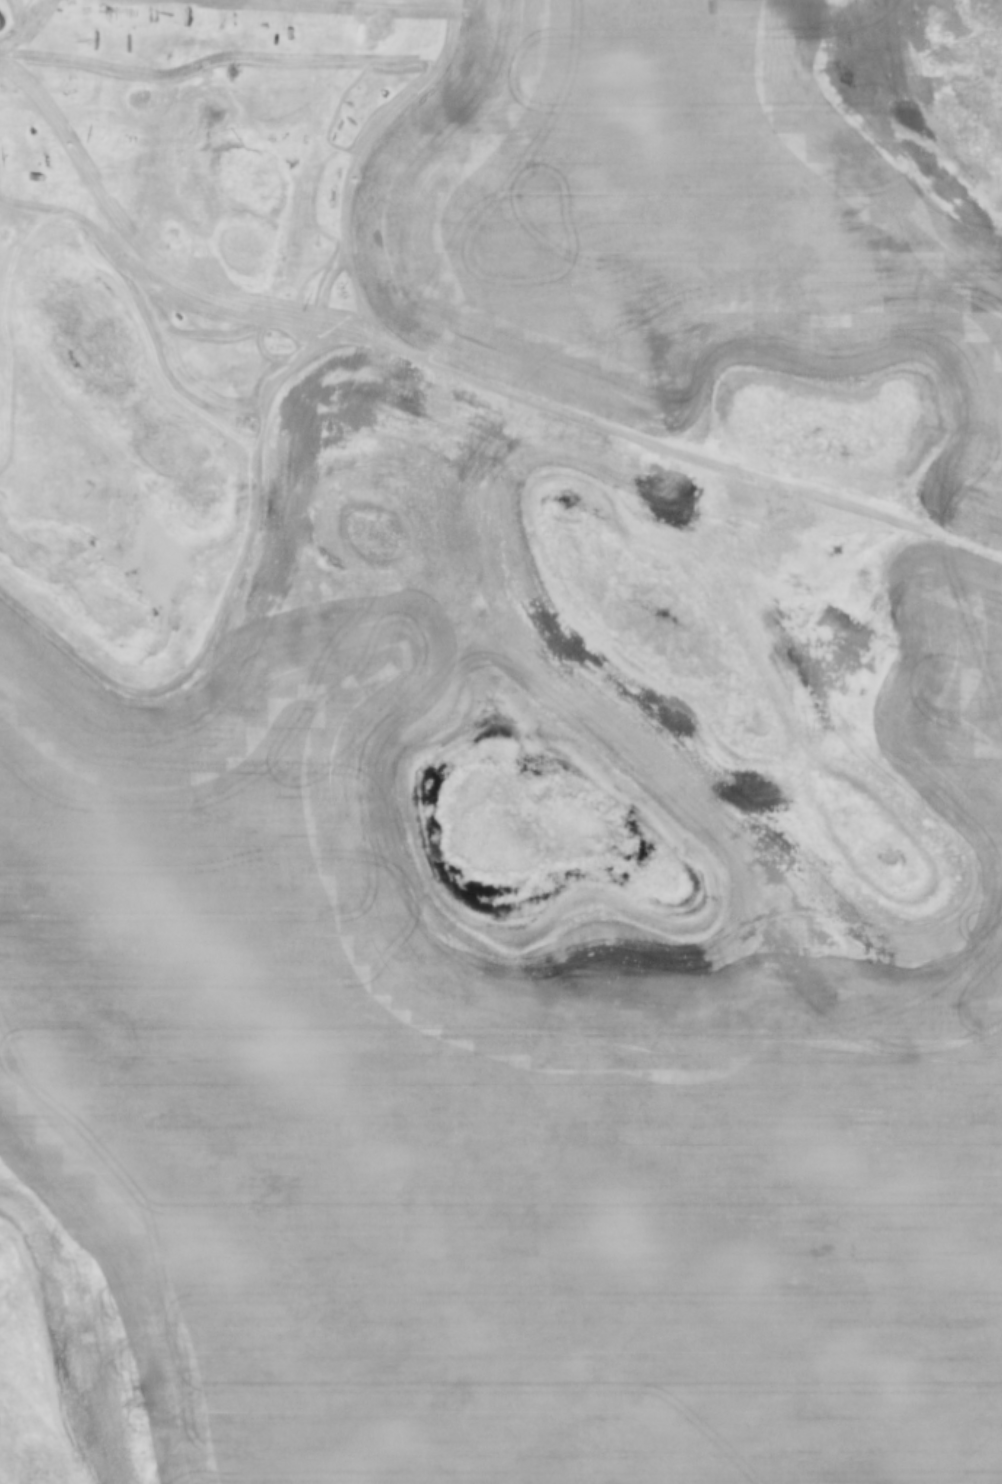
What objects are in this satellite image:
road: (450, 367)

